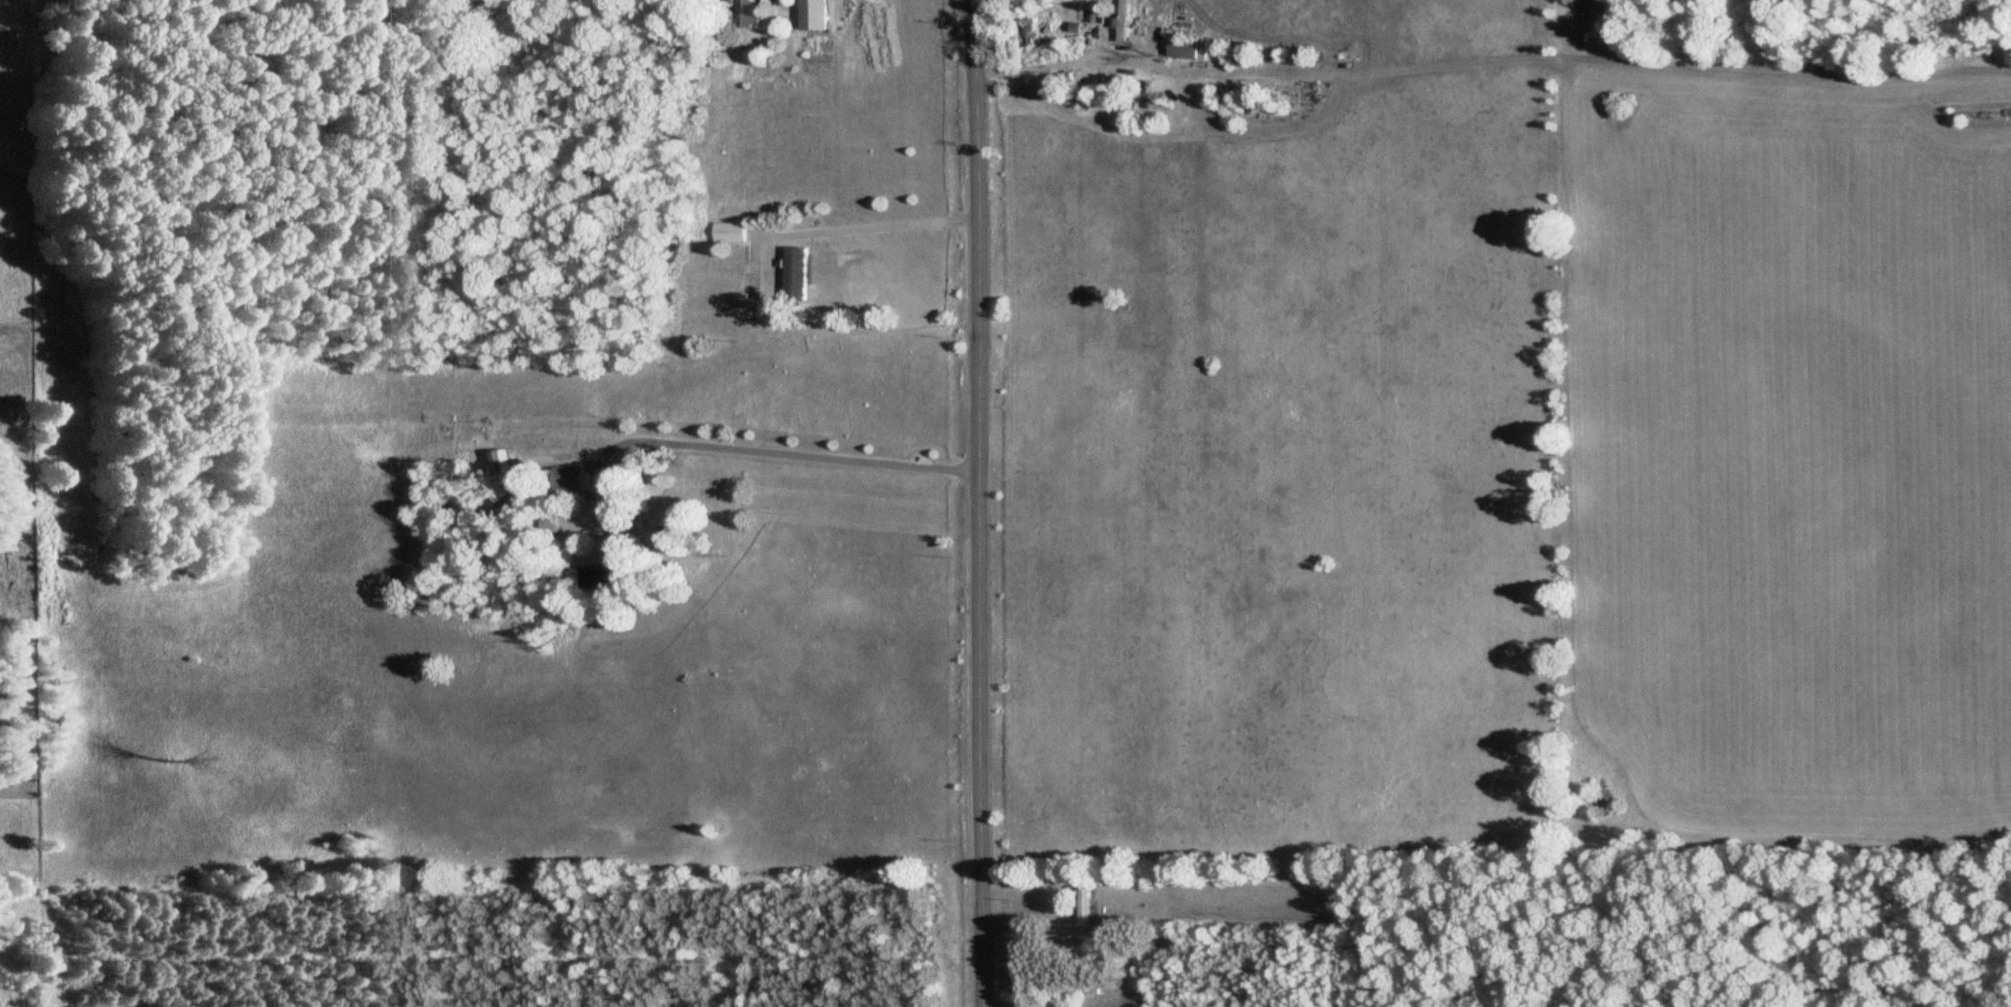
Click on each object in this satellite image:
building: (749, 12)
building: (1120, 21)
building: (1024, 30)
building: (1085, 41)
building: (1181, 50)
building: (726, 232)
building: (792, 273)
building: (560, 479)
road: (985, 503)
building: (543, 521)
building: (593, 576)
building: (1082, 904)

